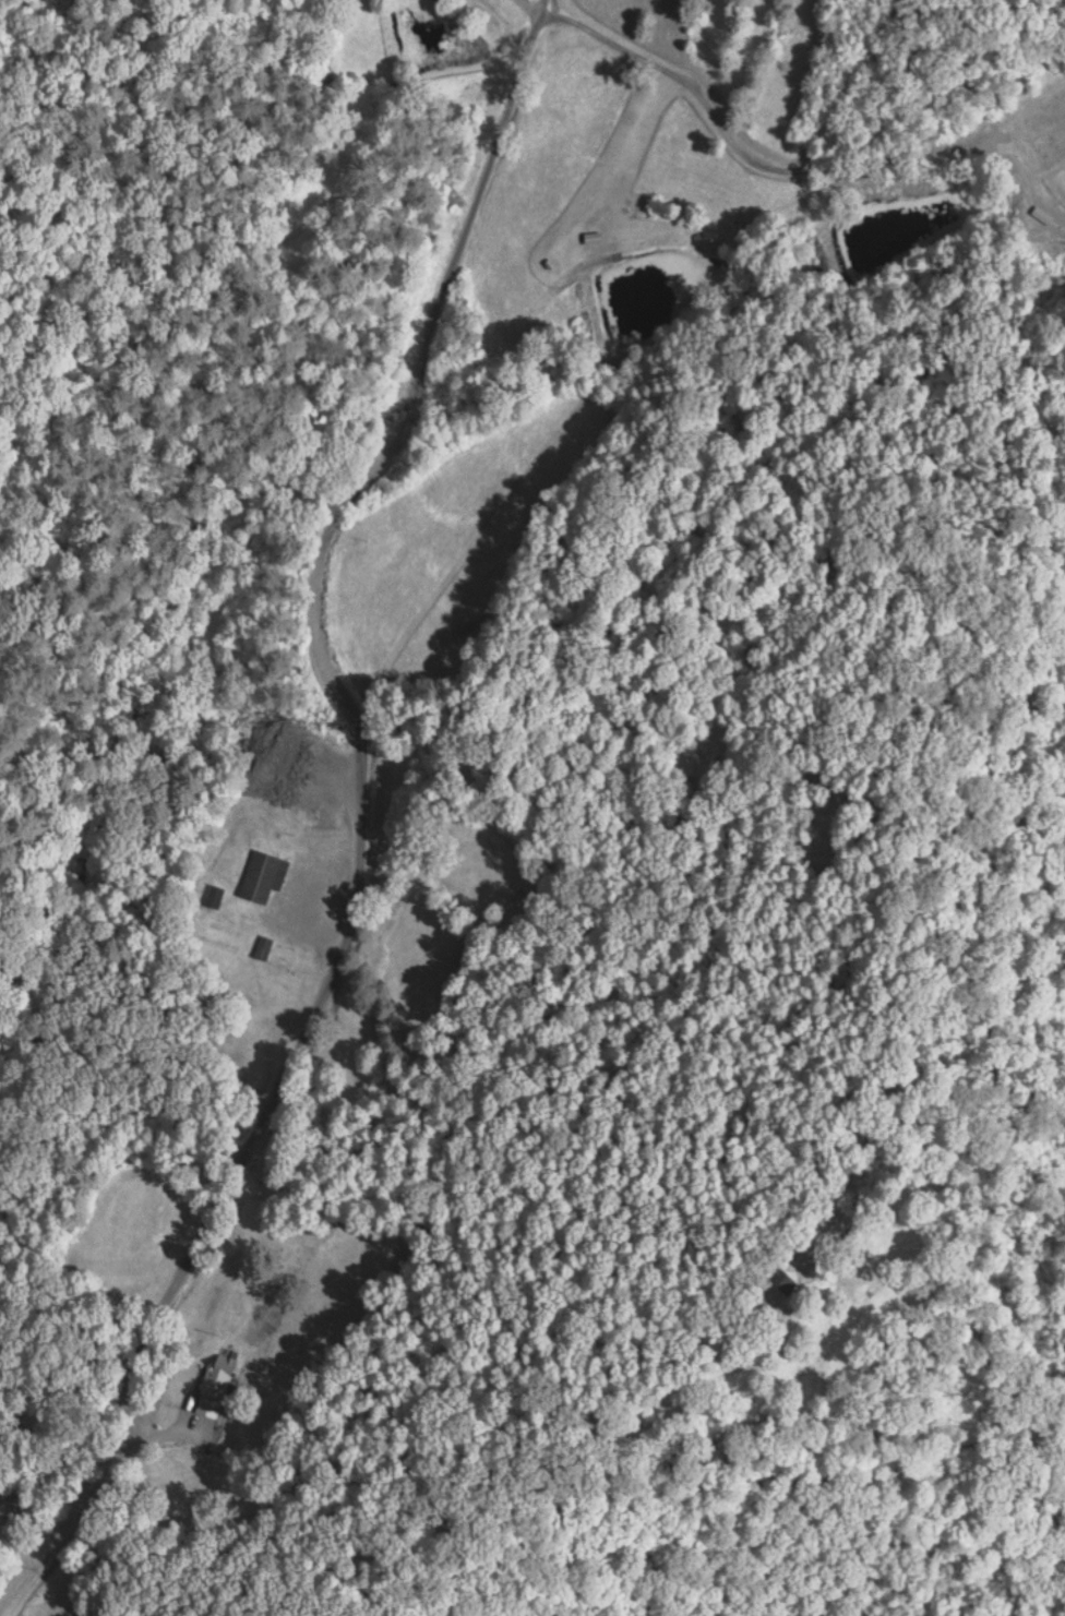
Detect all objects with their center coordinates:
road: (677, 77)
building: (593, 236)
road: (358, 773)
building: (263, 874)
building: (214, 896)
building: (262, 946)
building: (783, 1279)
building: (213, 1386)
road: (129, 1441)
road: (53, 1549)

